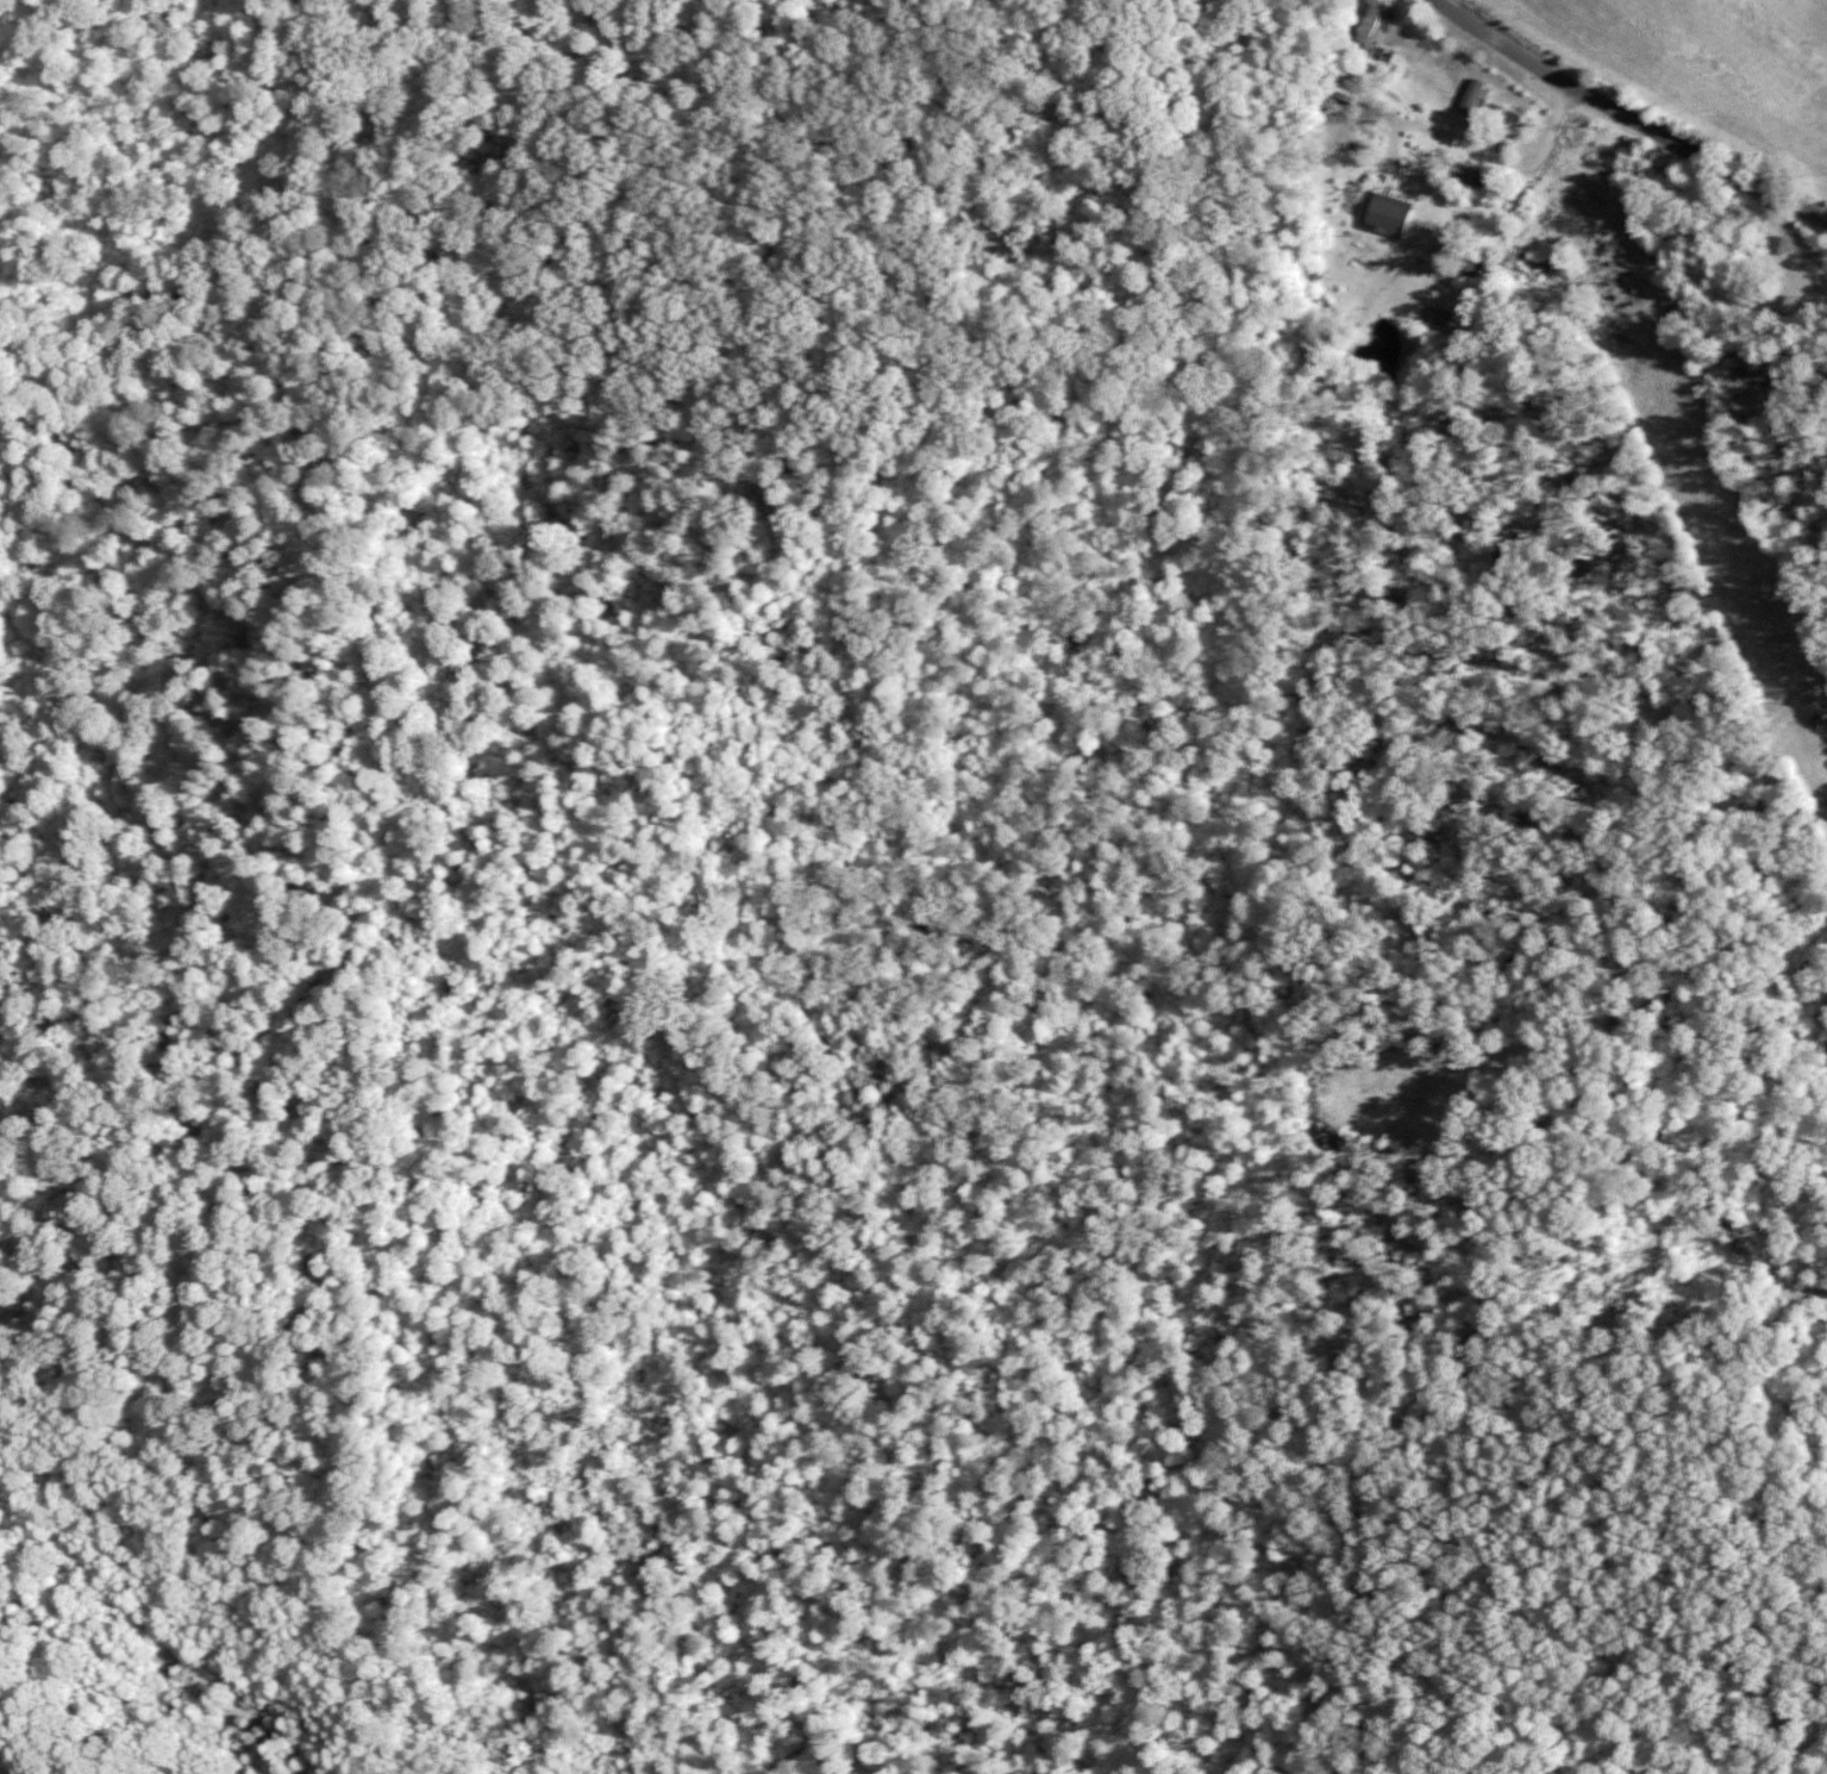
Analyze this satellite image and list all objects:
building: (1362, 19)
road: (1469, 24)
building: (1335, 137)
road: (1664, 139)
building: (1464, 177)
building: (1384, 213)
building: (1526, 257)

